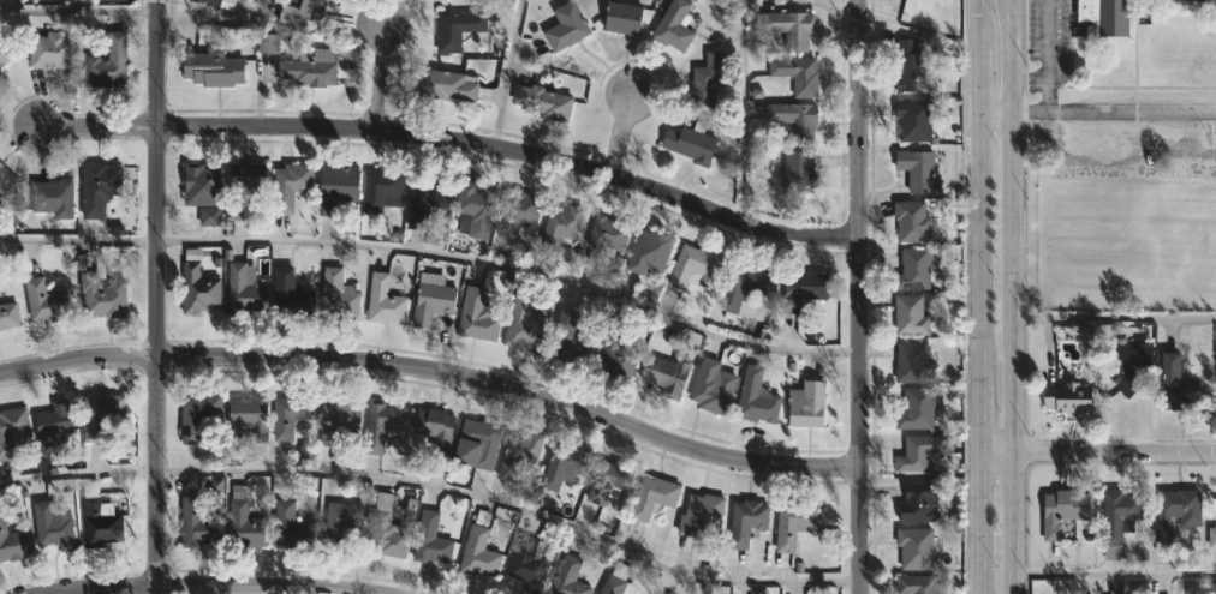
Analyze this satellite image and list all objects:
building: (445, 0)
building: (446, 0)
building: (1190, 1)
building: (219, 4)
road: (828, 7)
building: (304, 16)
building: (625, 18)
building: (1101, 18)
building: (674, 26)
building: (567, 28)
building: (458, 29)
building: (791, 29)
building: (267, 43)
building: (49, 52)
building: (5, 53)
road: (1041, 56)
building: (108, 64)
building: (912, 67)
building: (214, 70)
building: (310, 70)
road: (506, 70)
building: (798, 74)
road: (371, 77)
building: (708, 80)
building: (449, 88)
building: (546, 103)
road: (741, 110)
road: (1114, 113)
road: (997, 115)
building: (795, 120)
building: (914, 120)
road: (454, 132)
road: (619, 134)
building: (690, 145)
building: (799, 172)
building: (920, 172)
building: (248, 175)
building: (5, 180)
building: (202, 186)
building: (291, 186)
building: (99, 188)
building: (382, 188)
building: (338, 190)
building: (428, 197)
building: (54, 198)
building: (475, 209)
building: (521, 210)
building: (233, 211)
building: (913, 222)
building: (561, 229)
building: (609, 235)
road: (77, 239)
building: (650, 252)
building: (697, 268)
road: (512, 269)
building: (914, 270)
building: (743, 286)
building: (245, 289)
building: (198, 290)
building: (804, 292)
building: (291, 295)
building: (103, 296)
road: (155, 296)
building: (339, 296)
road: (858, 296)
road: (980, 296)
road: (1015, 296)
building: (433, 299)
building: (385, 301)
building: (46, 302)
road: (1116, 314)
building: (8, 317)
building: (477, 317)
building: (912, 317)
building: (525, 326)
building: (568, 340)
building: (618, 353)
building: (913, 364)
building: (1128, 367)
road: (435, 372)
building: (668, 376)
building: (1179, 385)
building: (713, 388)
building: (757, 398)
building: (1069, 398)
building: (807, 406)
building: (917, 410)
building: (101, 414)
building: (290, 414)
building: (199, 416)
building: (250, 416)
building: (340, 420)
building: (382, 425)
building: (53, 426)
building: (436, 428)
building: (12, 430)
building: (478, 443)
building: (920, 452)
building: (520, 454)
road: (1097, 455)
building: (566, 464)
building: (610, 480)
road: (435, 486)
building: (654, 496)
building: (920, 502)
building: (1063, 510)
building: (1178, 511)
building: (702, 512)
building: (100, 517)
building: (1120, 518)
building: (747, 521)
building: (341, 522)
building: (197, 523)
building: (244, 523)
building: (53, 524)
building: (797, 524)
building: (291, 526)
building: (387, 529)
building: (1212, 535)
building: (431, 539)
building: (12, 541)
building: (917, 547)
building: (481, 548)
building: (529, 562)
road: (1117, 569)
building: (568, 577)
building: (618, 581)
building: (920, 584)
road: (214, 586)
building: (1212, 588)

